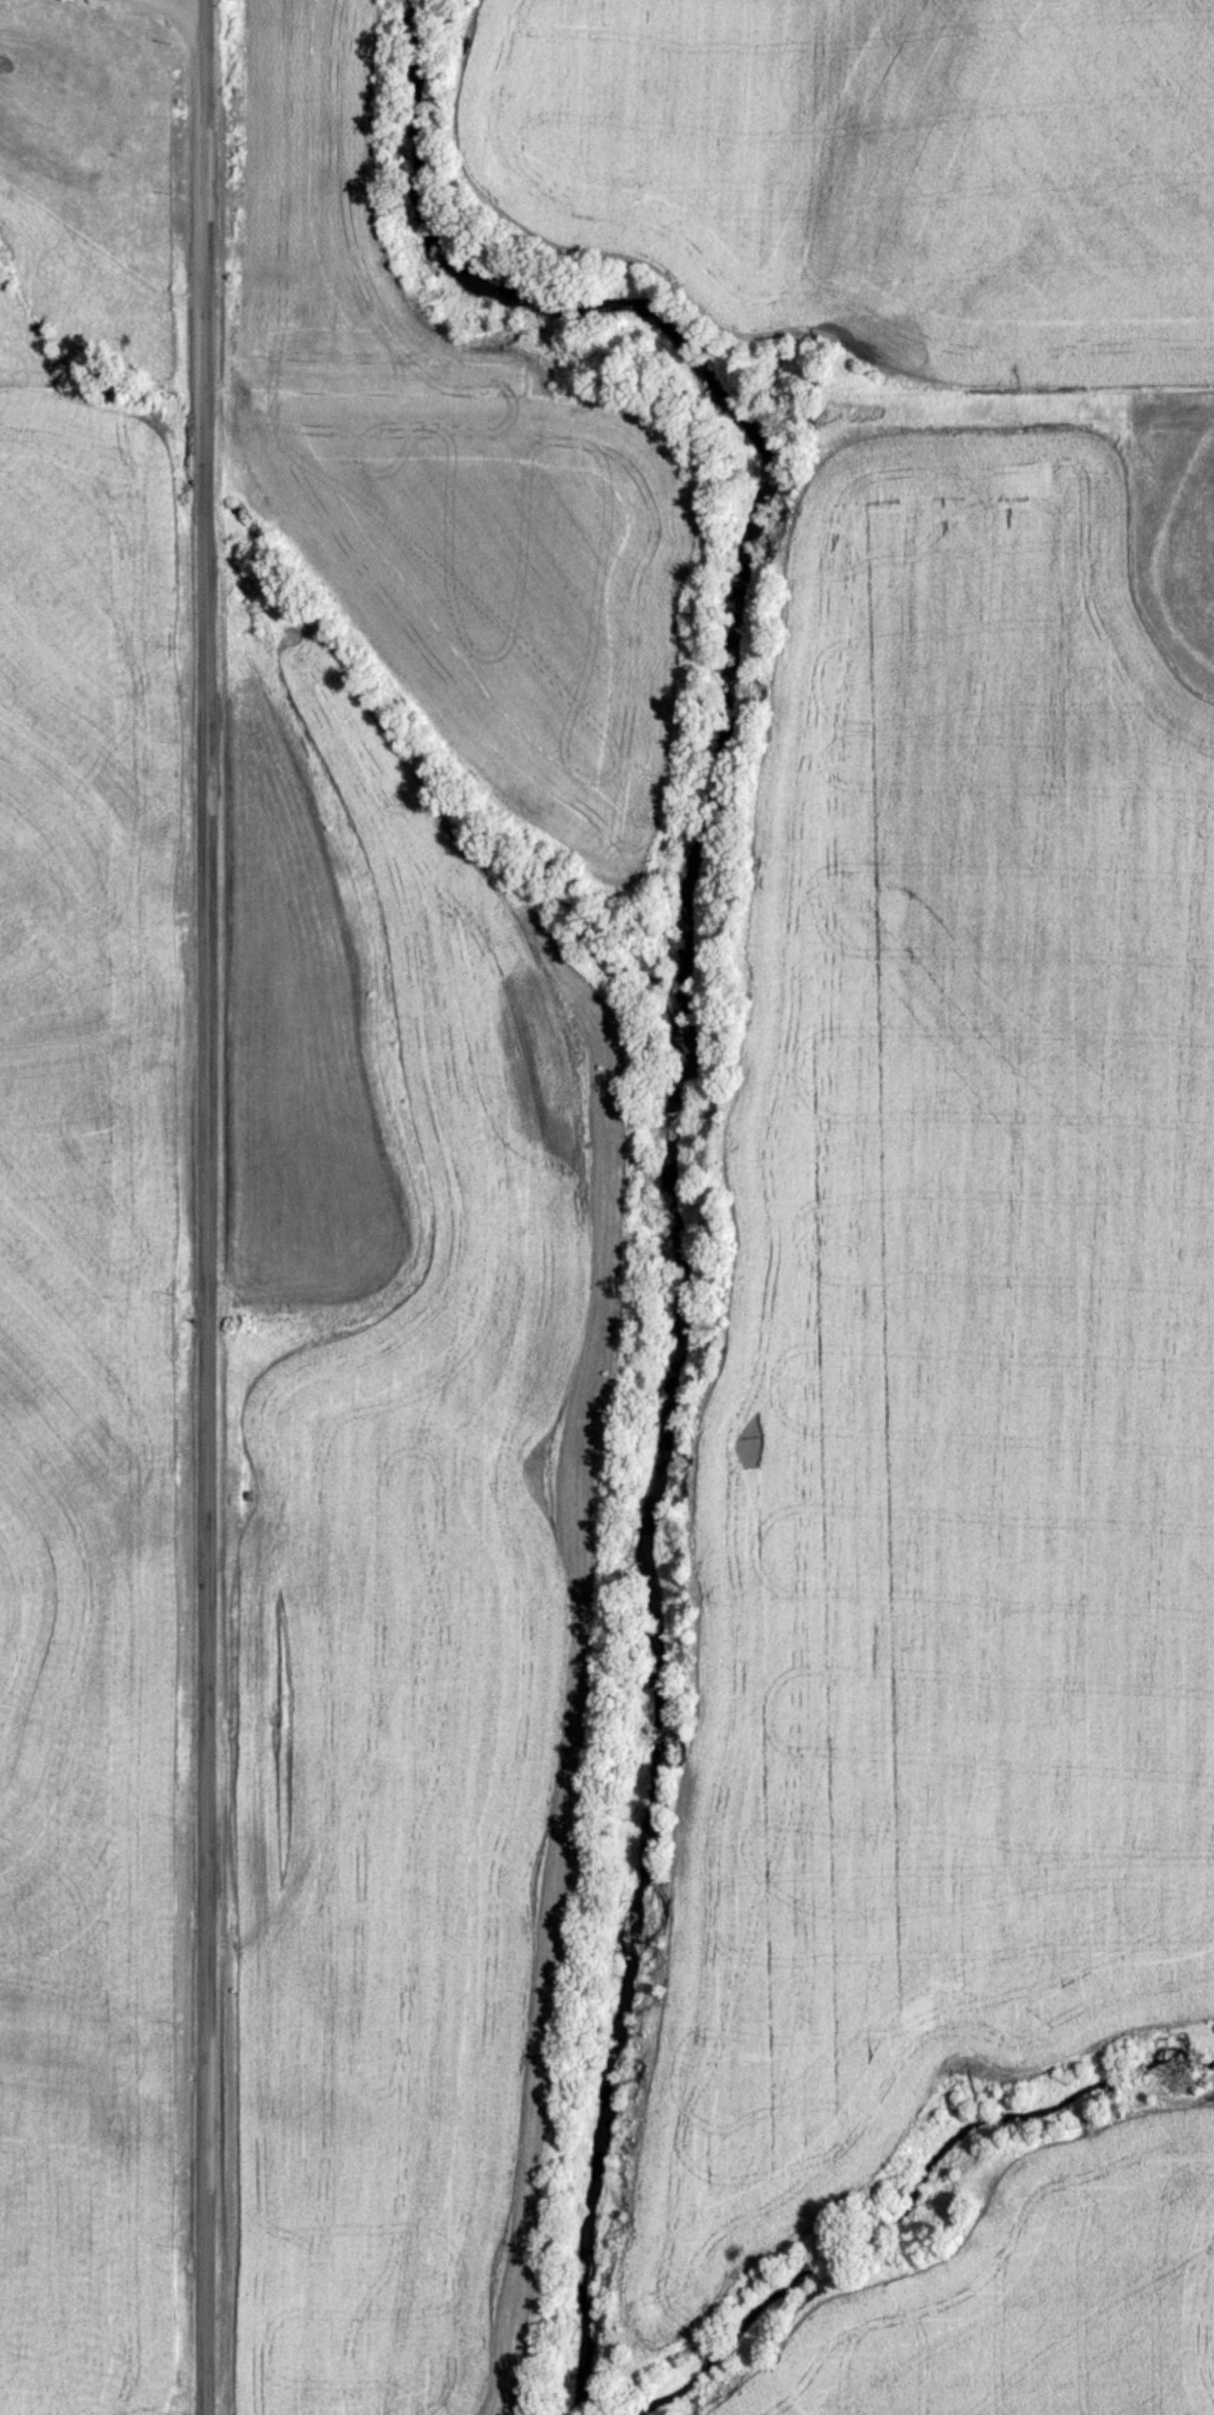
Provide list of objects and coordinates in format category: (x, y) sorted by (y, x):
road: (199, 1207)

